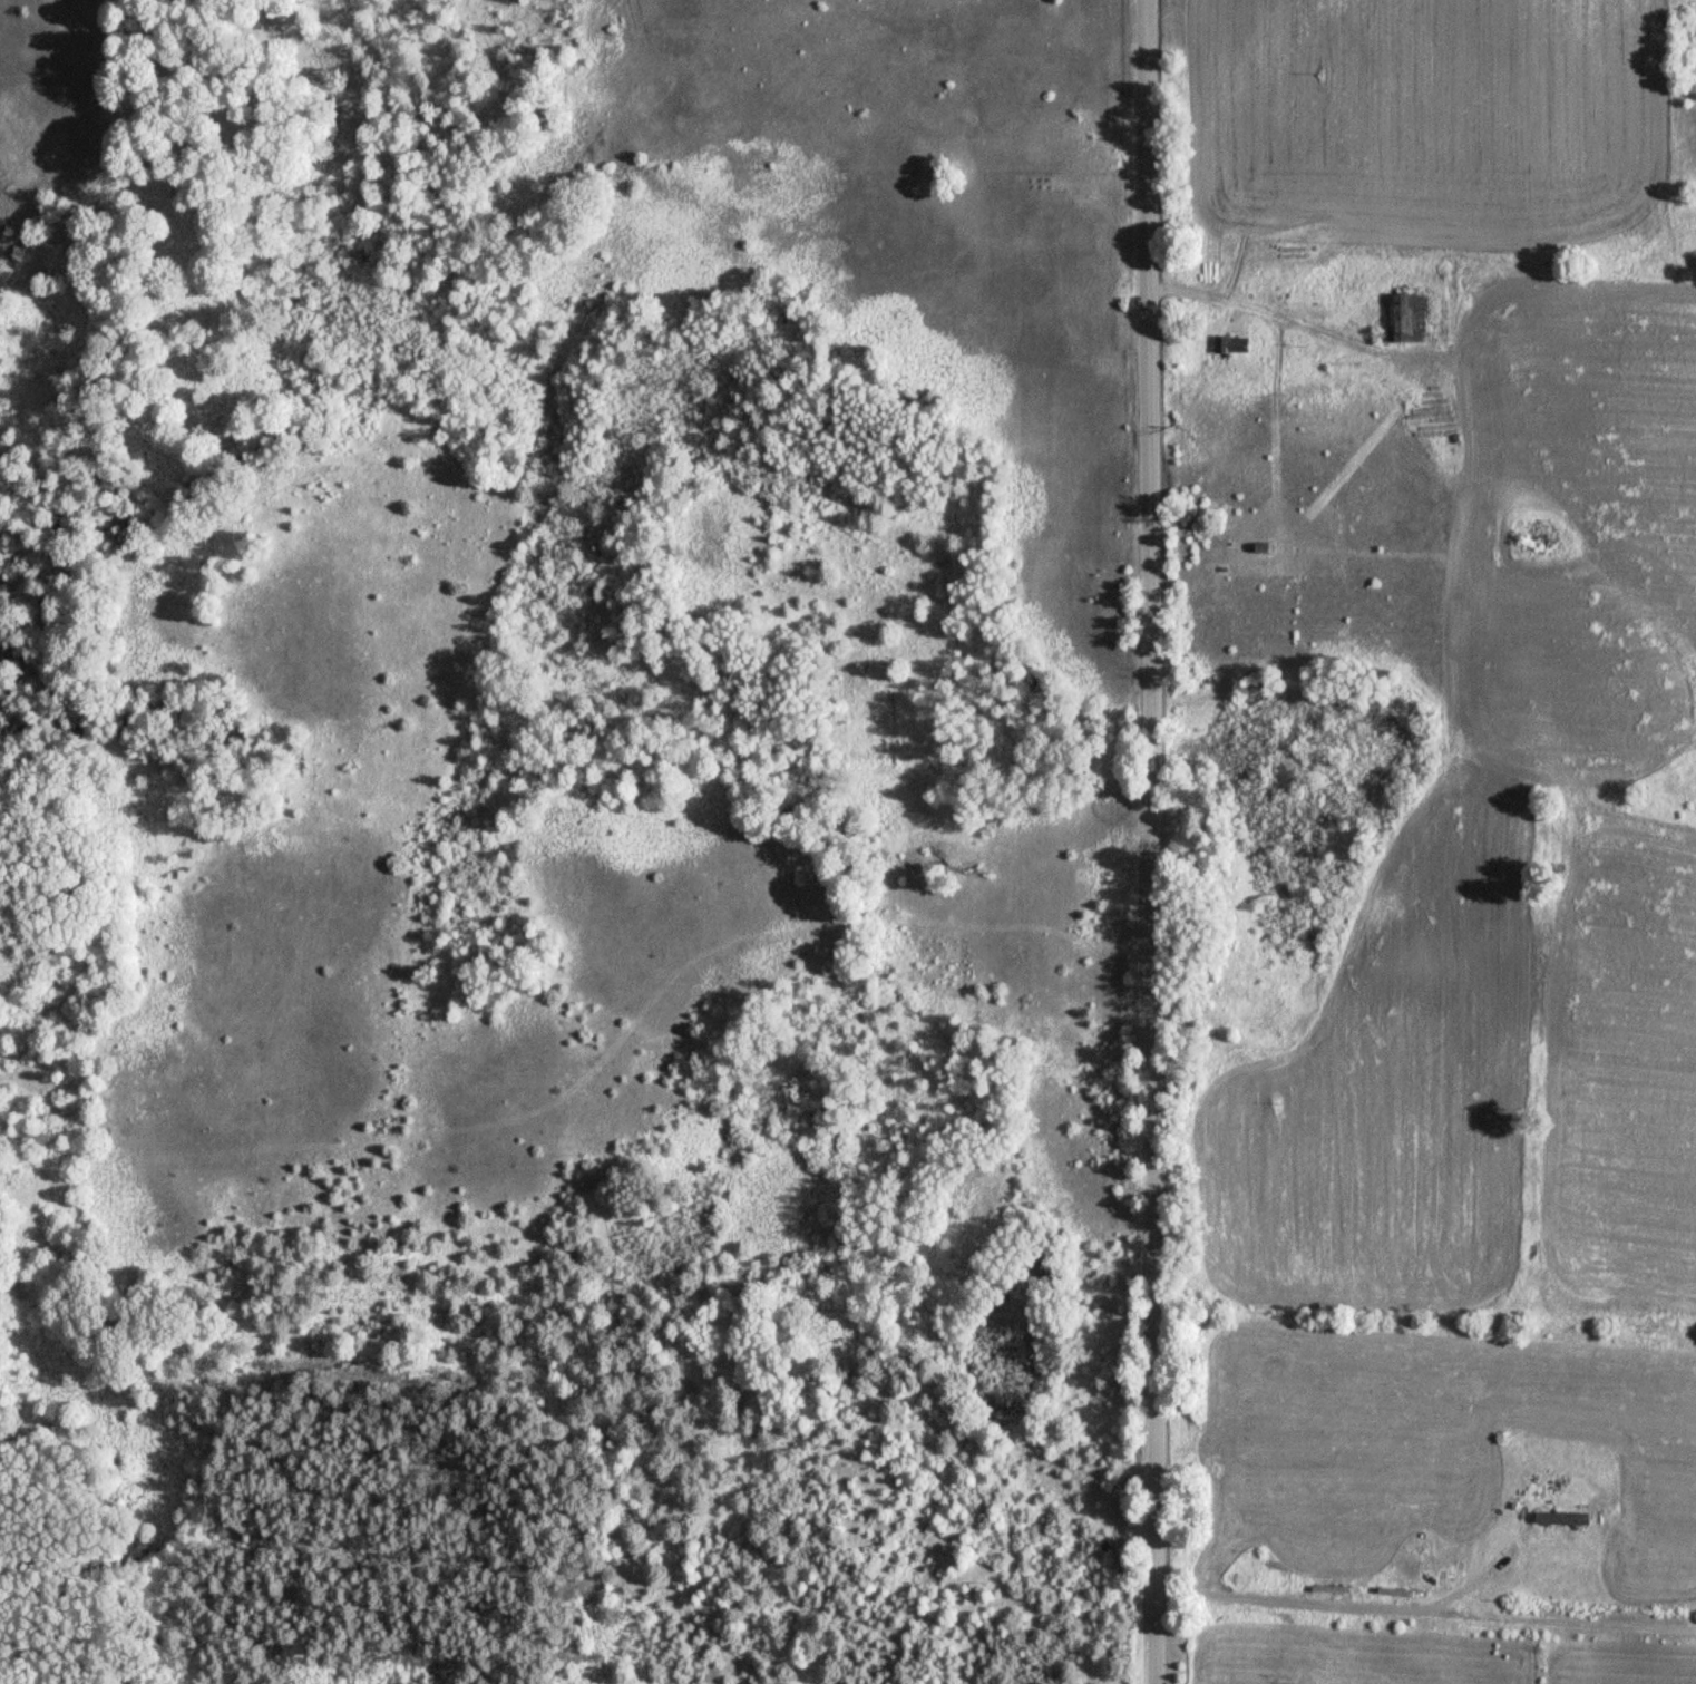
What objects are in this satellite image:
building: (1409, 318)
building: (1235, 344)
road: (1149, 841)
building: (1565, 1519)

